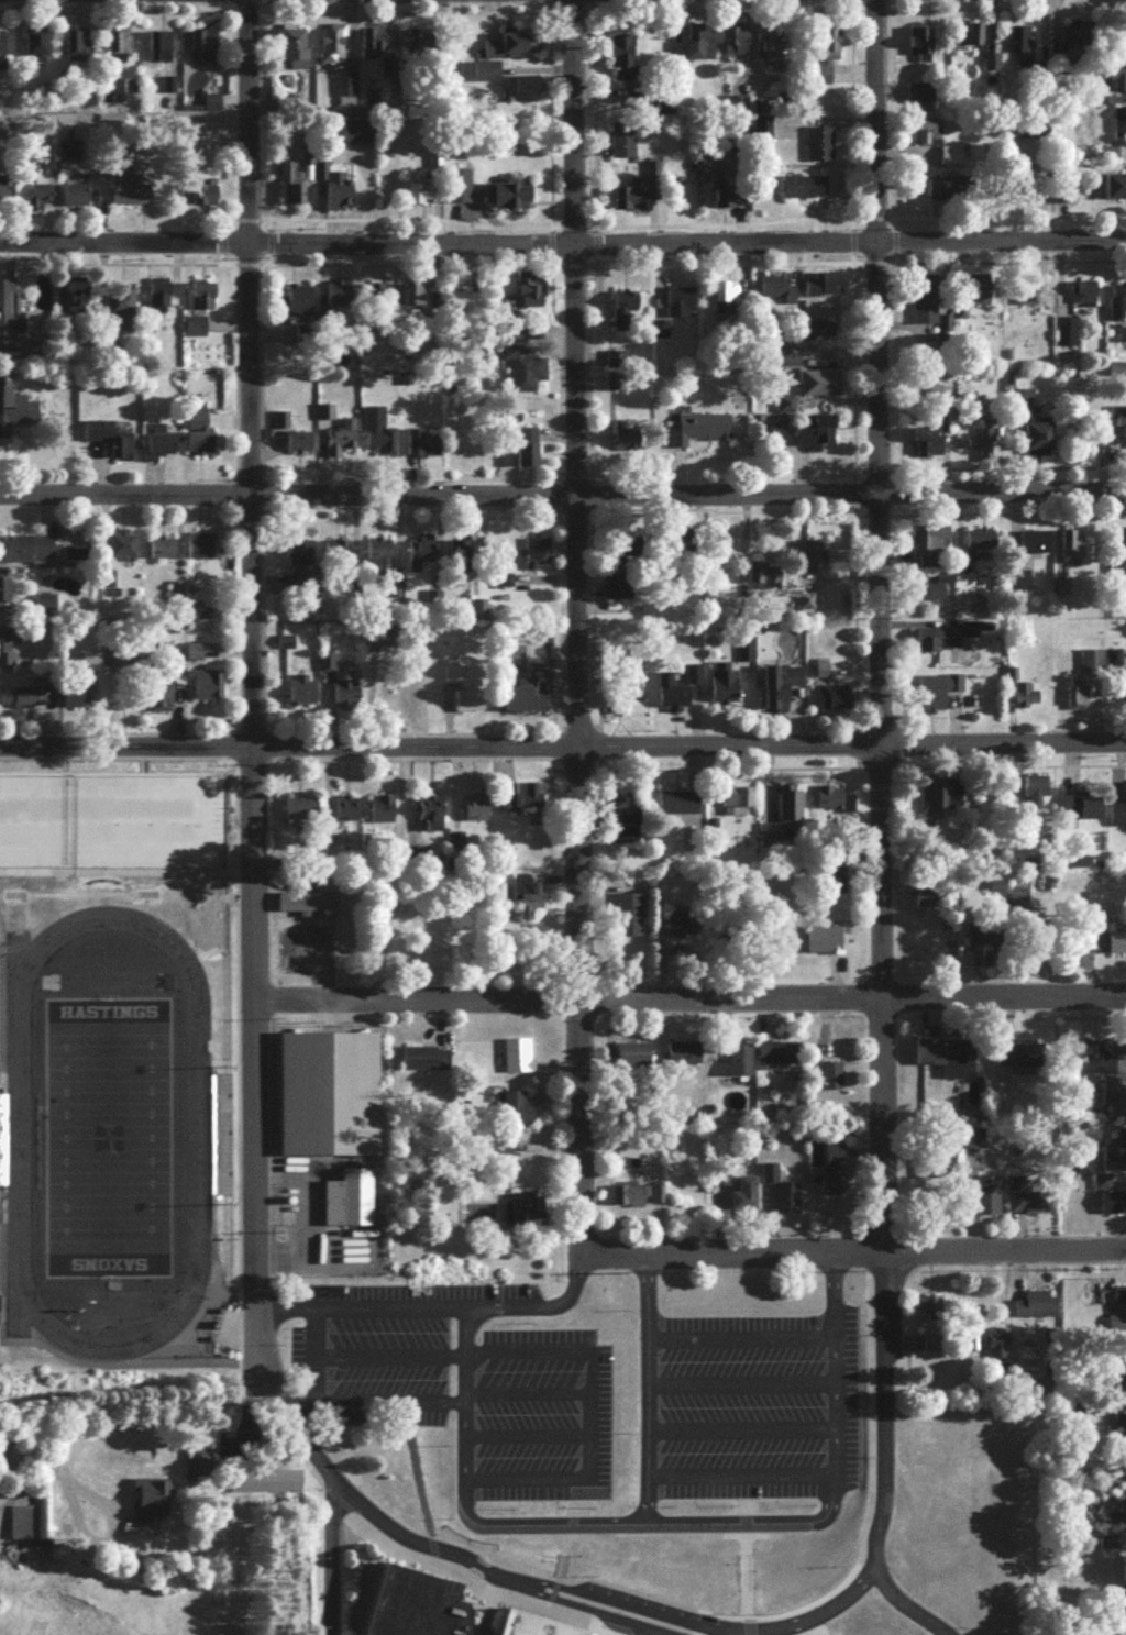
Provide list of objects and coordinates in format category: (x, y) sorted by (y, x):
building: (1124, 34)
building: (967, 40)
building: (735, 44)
building: (77, 45)
building: (419, 45)
building: (37, 46)
building: (700, 46)
building: (331, 47)
building: (372, 47)
building: (918, 48)
building: (118, 49)
building: (511, 49)
building: (768, 49)
building: (1019, 49)
building: (159, 51)
building: (205, 52)
building: (291, 52)
building: (2, 53)
building: (824, 57)
building: (620, 60)
building: (485, 77)
building: (1117, 82)
building: (344, 89)
building: (522, 89)
building: (120, 95)
building: (921, 99)
building: (211, 108)
building: (1119, 124)
building: (358, 136)
building: (924, 136)
building: (621, 145)
building: (818, 150)
building: (950, 159)
building: (1107, 159)
building: (289, 187)
building: (457, 190)
building: (803, 191)
building: (948, 191)
building: (1115, 191)
building: (338, 192)
building: (726, 194)
building: (1, 195)
building: (131, 195)
building: (420, 196)
building: (1029, 196)
building: (206, 197)
building: (1061, 198)
building: (76, 199)
building: (509, 200)
building: (629, 200)
building: (34, 201)
road: (563, 248)
building: (824, 290)
building: (777, 294)
building: (529, 296)
building: (978, 297)
building: (1083, 298)
building: (1026, 299)
building: (379, 300)
building: (77, 301)
building: (202, 301)
building: (158, 302)
building: (413, 302)
building: (339, 303)
building: (296, 305)
building: (726, 305)
building: (924, 305)
building: (677, 307)
building: (460, 308)
building: (1117, 308)
building: (120, 311)
building: (626, 316)
building: (8, 321)
building: (195, 332)
building: (1066, 338)
building: (1122, 341)
building: (788, 363)
building: (615, 371)
building: (523, 374)
building: (1117, 375)
building: (819, 387)
building: (938, 398)
building: (1018, 405)
building: (16, 420)
building: (1121, 429)
building: (697, 433)
building: (806, 438)
building: (627, 440)
building: (1038, 442)
building: (110, 444)
building: (199, 446)
building: (339, 446)
building: (928, 446)
building: (298, 448)
building: (423, 448)
building: (161, 450)
building: (980, 450)
building: (527, 454)
road: (563, 498)
building: (928, 542)
building: (979, 546)
building: (1034, 549)
building: (122, 550)
building: (1070, 550)
building: (298, 552)
building: (335, 552)
building: (462, 552)
building: (812, 552)
building: (24, 553)
building: (162, 553)
building: (199, 554)
building: (75, 556)
building: (382, 556)
building: (537, 557)
building: (421, 563)
building: (928, 567)
building: (1119, 570)
building: (762, 578)
building: (623, 585)
building: (1020, 587)
building: (4, 594)
building: (926, 597)
building: (806, 606)
building: (45, 610)
road: (873, 626)
road: (572, 627)
building: (932, 645)
building: (9, 650)
road: (250, 652)
building: (194, 659)
building: (327, 665)
building: (1092, 667)
building: (81, 691)
building: (209, 691)
building: (1125, 691)
building: (780, 692)
building: (724, 693)
building: (165, 694)
building: (345, 694)
building: (676, 694)
building: (300, 697)
building: (529, 697)
building: (461, 698)
building: (931, 699)
building: (1029, 699)
building: (834, 703)
building: (23, 704)
road: (562, 750)
building: (1031, 792)
building: (934, 799)
building: (521, 805)
building: (834, 805)
building: (735, 806)
building: (678, 807)
building: (623, 811)
building: (1081, 811)
building: (301, 813)
building: (345, 814)
building: (382, 814)
building: (430, 817)
building: (475, 819)
building: (1117, 820)
building: (782, 822)
park: (110, 829)
building: (527, 902)
building: (306, 907)
building: (1017, 910)
building: (629, 920)
building: (684, 929)
building: (824, 944)
building: (950, 944)
building: (1117, 948)
road: (688, 1002)
building: (1083, 1057)
building: (1114, 1058)
building: (780, 1059)
building: (634, 1060)
building: (519, 1061)
building: (685, 1061)
building: (948, 1062)
building: (1020, 1062)
building: (426, 1064)
building: (741, 1065)
building: (831, 1082)
building: (330, 1100)
building: (1117, 1108)
building: (517, 1115)
park: (108, 1144)
building: (971, 1145)
building: (501, 1157)
building: (834, 1174)
building: (926, 1175)
building: (1112, 1182)
building: (782, 1196)
building: (748, 1198)
building: (643, 1200)
building: (987, 1201)
building: (1030, 1201)
building: (350, 1205)
building: (523, 1215)
road: (308, 1249)
road: (851, 1251)
road: (434, 1306)
building: (1037, 1310)
building: (930, 1314)
road: (738, 1337)
parking lot: (378, 1344)
building: (932, 1347)
building: (997, 1350)
road: (585, 1354)
building: (1122, 1377)
road: (738, 1381)
road: (523, 1390)
parking lot: (747, 1405)
road: (883, 1408)
road: (99, 1410)
parking lot: (543, 1414)
road: (738, 1427)
road: (523, 1433)
building: (1119, 1434)
building: (199, 1466)
road: (739, 1474)
road: (523, 1477)
building: (267, 1487)
road: (464, 1500)
building: (153, 1505)
building: (1124, 1509)
road: (736, 1516)
building: (37, 1529)
road: (746, 1534)
road: (567, 1535)
road: (331, 1556)
road: (853, 1568)
road: (505, 1575)
building: (1125, 1594)
building: (411, 1603)
road: (907, 1604)
building: (533, 1625)

